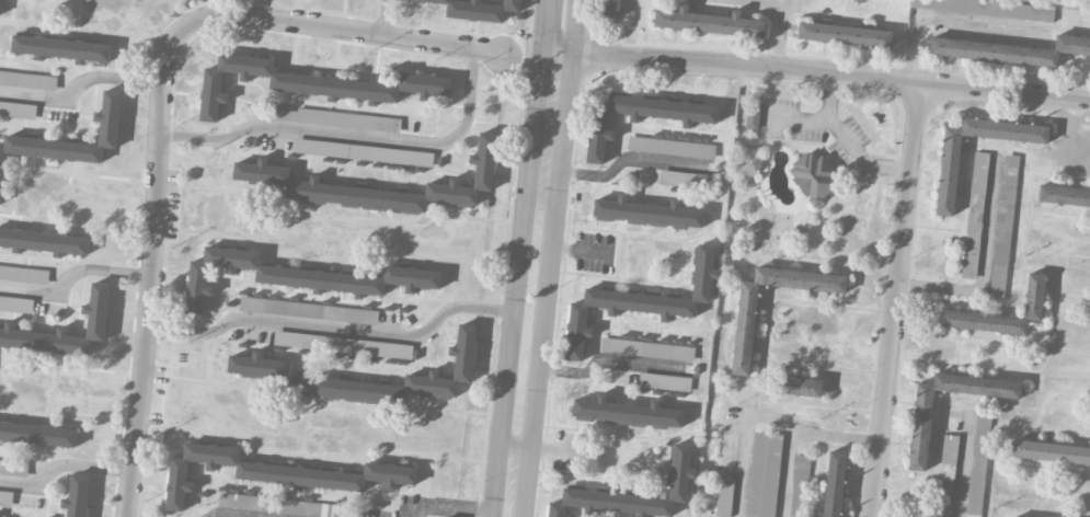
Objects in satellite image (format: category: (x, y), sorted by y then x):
building: (0, 5)
building: (987, 8)
building: (479, 9)
building: (610, 9)
road: (385, 16)
building: (709, 22)
road: (544, 27)
road: (784, 32)
building: (845, 34)
building: (60, 48)
building: (1010, 50)
road: (816, 70)
building: (28, 80)
building: (308, 83)
road: (78, 84)
road: (159, 105)
building: (18, 110)
building: (753, 117)
building: (337, 118)
building: (598, 129)
road: (352, 134)
road: (845, 140)
building: (51, 147)
building: (672, 147)
building: (364, 152)
road: (627, 156)
building: (262, 170)
building: (813, 176)
building: (686, 179)
building: (948, 179)
building: (1064, 195)
building: (647, 211)
building: (975, 215)
building: (1003, 227)
building: (43, 241)
road: (580, 250)
road: (553, 257)
road: (984, 266)
building: (24, 274)
road: (73, 276)
building: (299, 276)
road: (516, 286)
building: (1035, 290)
road: (895, 299)
building: (640, 302)
building: (16, 305)
building: (309, 310)
road: (333, 326)
building: (64, 329)
building: (745, 333)
road: (990, 342)
building: (343, 344)
building: (647, 348)
road: (608, 358)
building: (447, 369)
building: (312, 380)
building: (665, 381)
building: (796, 384)
building: (628, 412)
road: (771, 415)
building: (920, 433)
building: (37, 434)
road: (560, 447)
building: (1051, 451)
road: (61, 463)
road: (961, 466)
building: (978, 466)
building: (13, 468)
building: (277, 472)
building: (764, 474)
building: (946, 475)
building: (678, 482)
building: (835, 483)
building: (800, 485)
building: (77, 496)
building: (724, 497)
building: (5, 498)
building: (273, 504)
road: (448, 506)
road: (227, 515)

